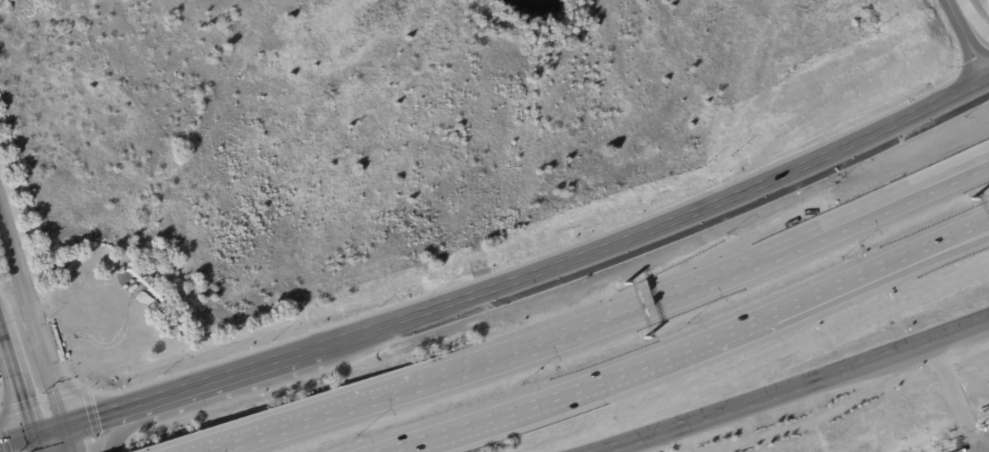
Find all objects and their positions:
road: (971, 37)
road: (957, 171)
road: (661, 226)
road: (935, 246)
road: (935, 251)
road: (33, 320)
road: (606, 325)
road: (632, 370)
road: (231, 375)
road: (17, 380)
road: (788, 388)
road: (850, 403)
road: (102, 414)
traffic signals: (67, 425)
road: (120, 425)
road: (50, 430)
traffic signals: (34, 435)
road: (70, 438)
road: (17, 440)
road: (36, 443)

